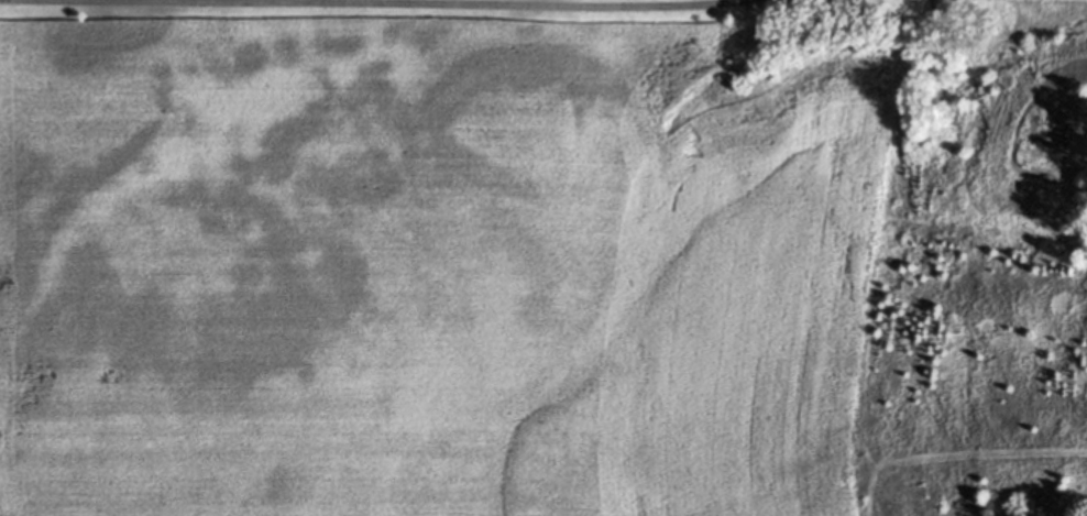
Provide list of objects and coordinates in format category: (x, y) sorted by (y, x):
road: (373, 2)

